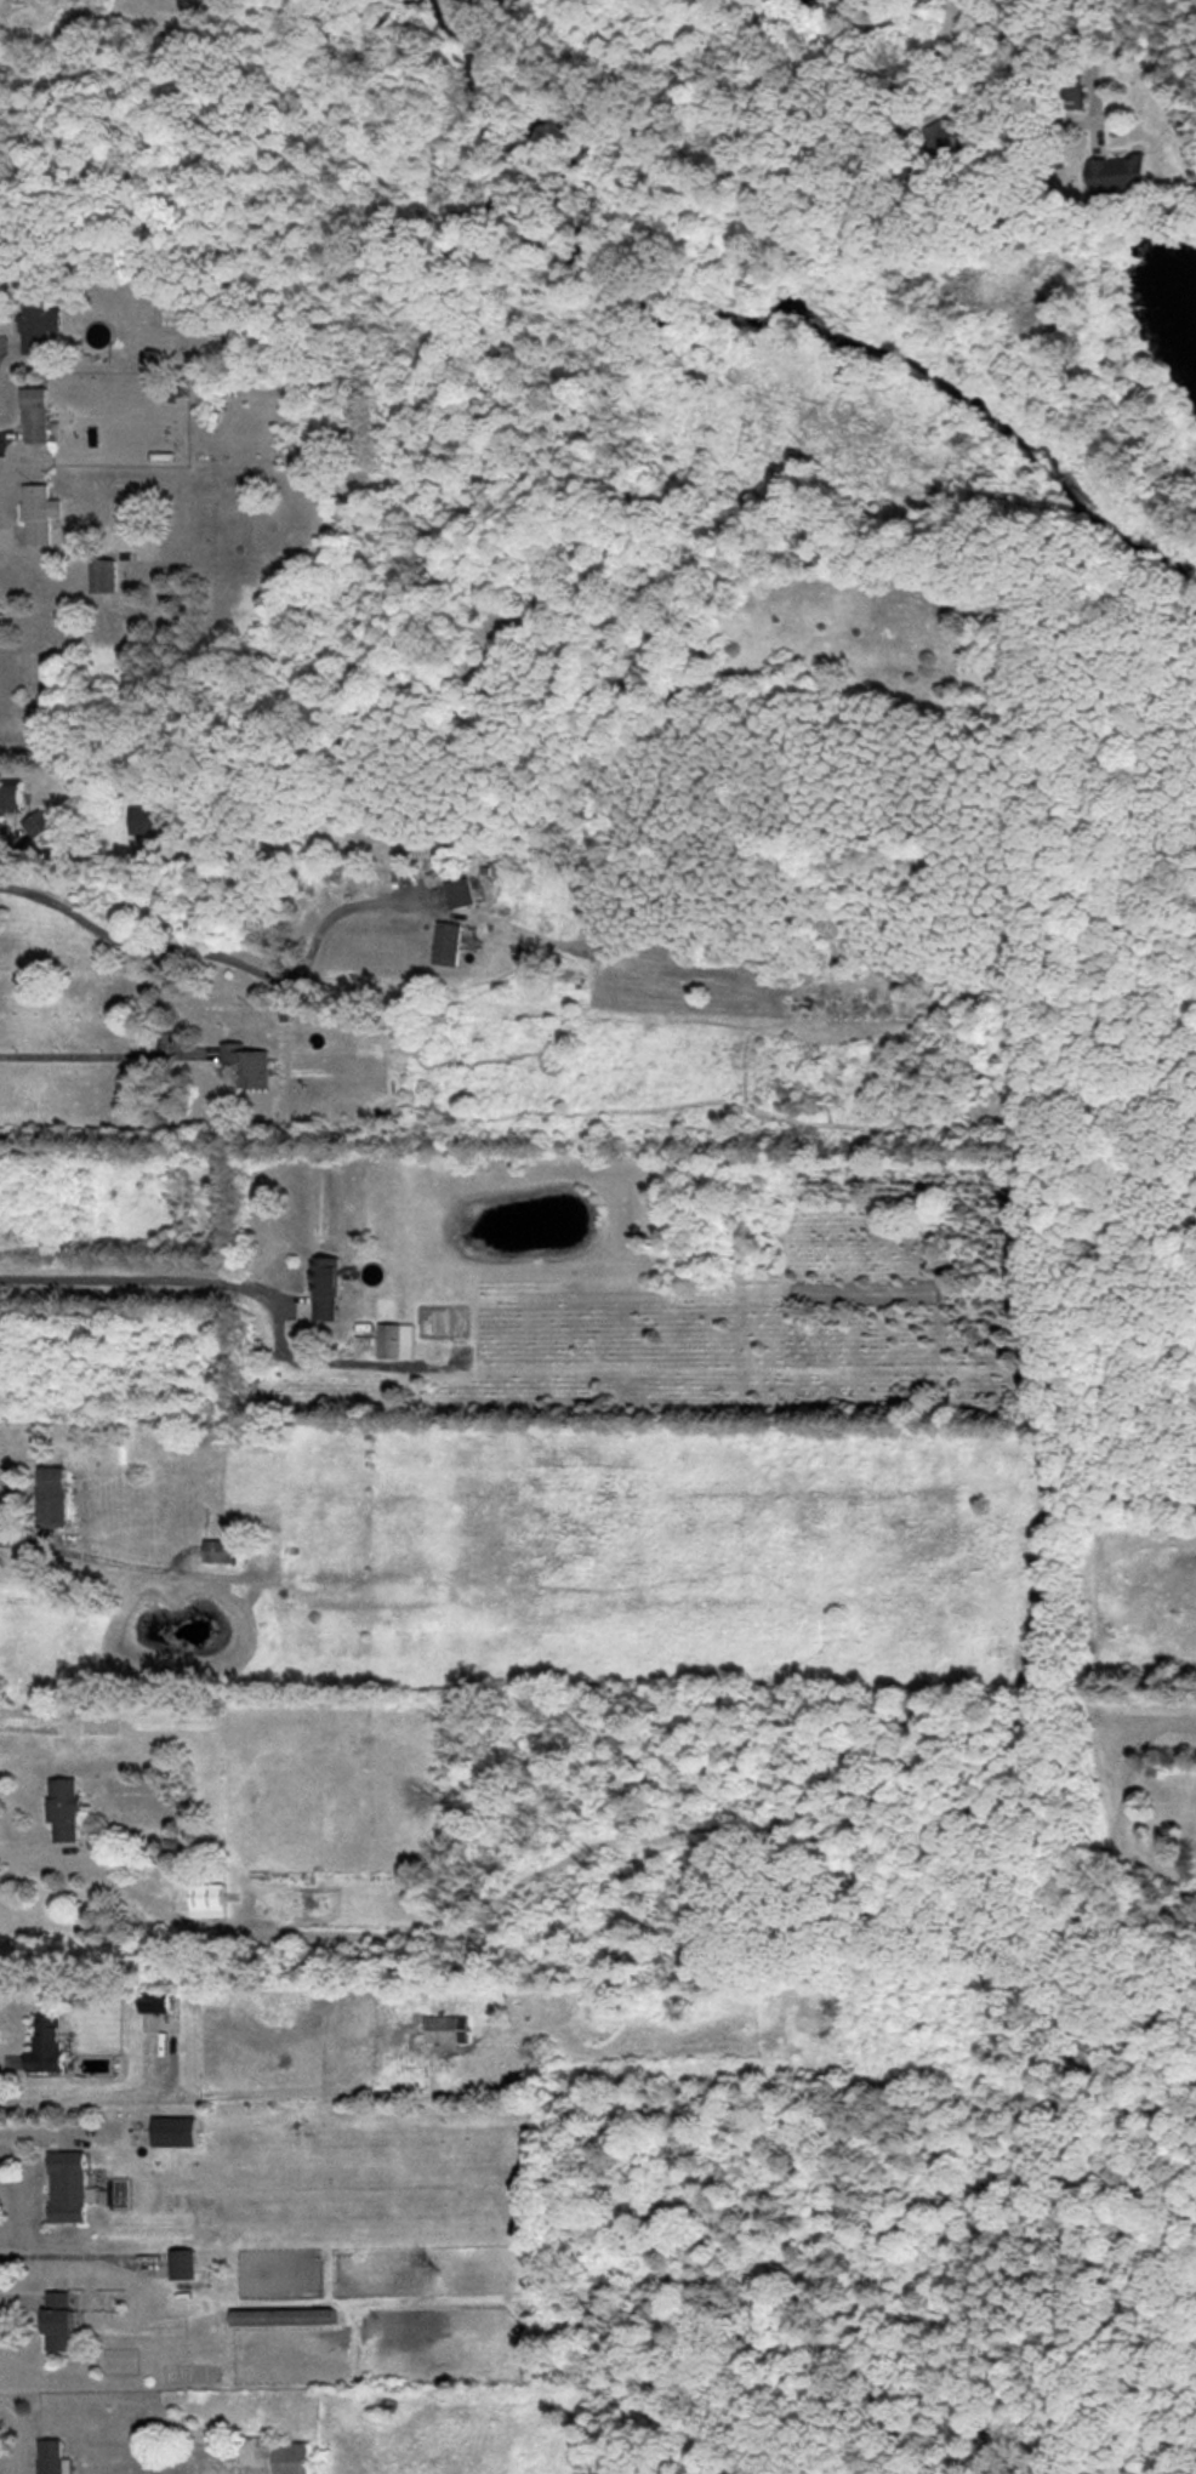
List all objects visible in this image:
road: (934, 46)
road: (1089, 64)
building: (1075, 97)
building: (1120, 175)
building: (35, 415)
building: (40, 514)
building: (103, 576)
building: (11, 798)
building: (148, 821)
building: (36, 823)
building: (461, 893)
building: (448, 944)
road: (216, 956)
road: (90, 1065)
building: (249, 1065)
road: (142, 1287)
building: (326, 1288)
building: (395, 1341)
building: (52, 1498)
road: (28, 1540)
building: (221, 1551)
building: (66, 1808)
road: (32, 1853)
building: (209, 1900)
building: (154, 2001)
building: (446, 2029)
building: (47, 2046)
road: (76, 2108)
building: (175, 2131)
building: (69, 2187)
road: (58, 2257)
building: (183, 2264)
building: (284, 2318)
building: (61, 2322)
building: (275, 2456)
building: (52, 2457)

